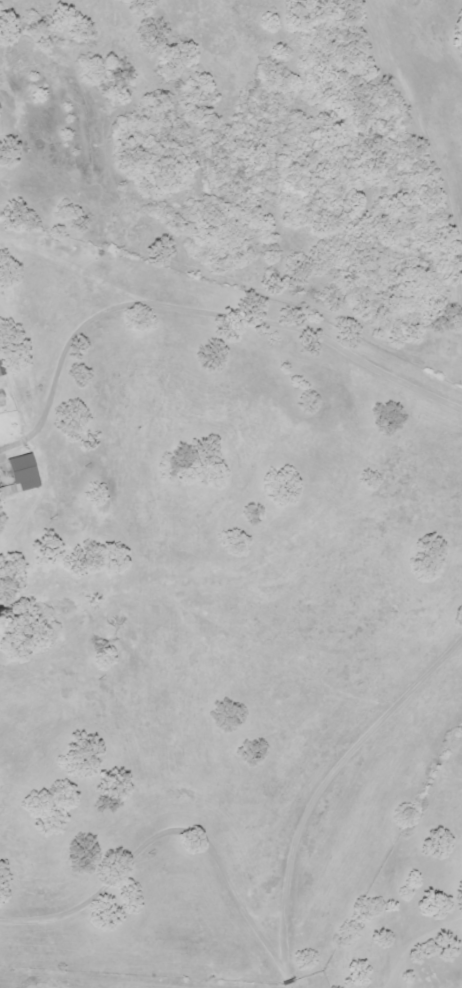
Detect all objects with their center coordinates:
building: (1, 370)
building: (1, 398)
building: (20, 475)
road: (318, 811)

